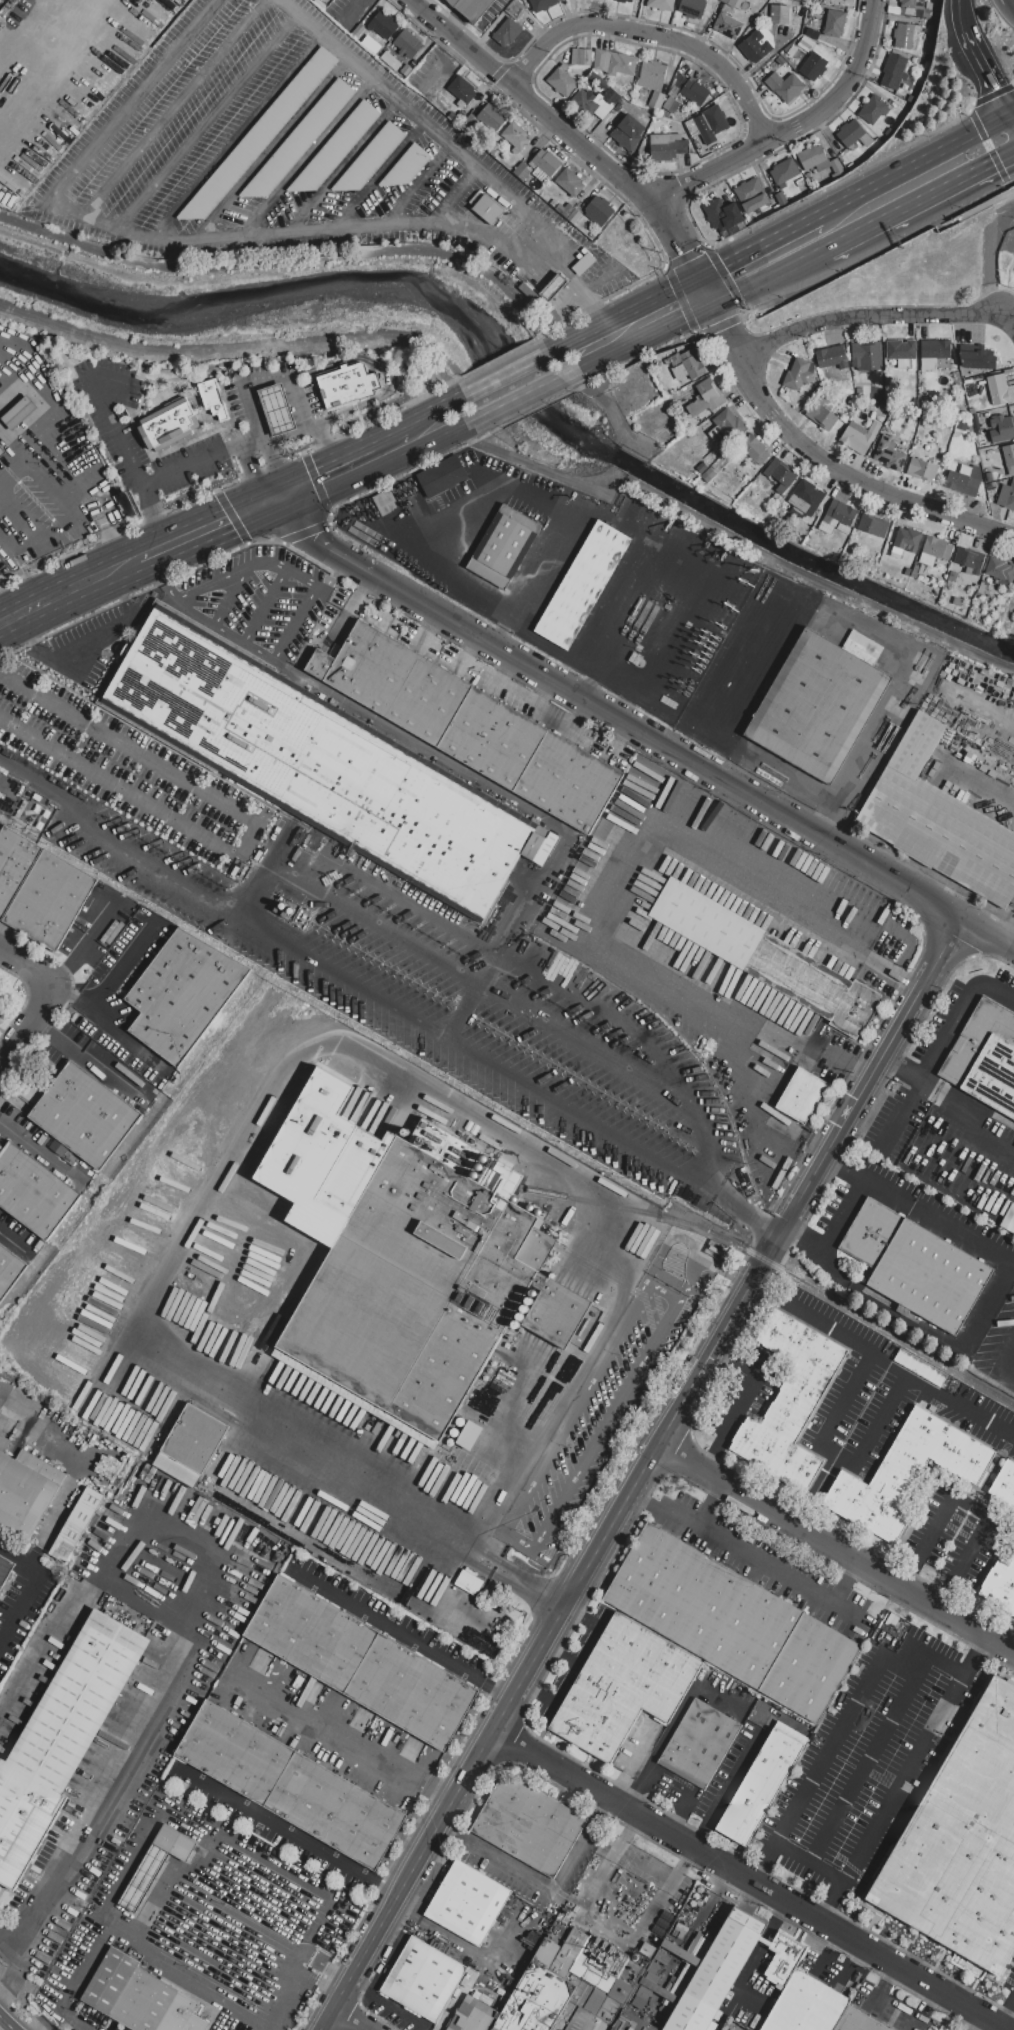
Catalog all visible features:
building: (807, 0)
building: (624, 1)
road: (1000, 1)
building: (938, 2)
building: (735, 3)
building: (542, 4)
building: (661, 4)
building: (912, 4)
building: (472, 8)
building: (692, 8)
building: (516, 9)
road: (358, 12)
building: (921, 12)
road: (1007, 12)
building: (780, 15)
road: (961, 15)
building: (835, 23)
road: (19, 24)
building: (383, 25)
building: (728, 26)
building: (508, 31)
building: (359, 32)
building: (813, 33)
building: (906, 36)
road: (654, 37)
building: (806, 42)
building: (408, 44)
building: (758, 44)
road: (974, 50)
building: (582, 57)
building: (601, 59)
building: (390, 60)
building: (781, 61)
building: (622, 64)
building: (814, 66)
road: (54, 67)
building: (893, 71)
building: (652, 75)
building: (563, 81)
building: (676, 86)
building: (786, 87)
road: (998, 87)
building: (462, 91)
building: (695, 91)
building: (609, 92)
building: (657, 100)
building: (584, 103)
building: (671, 104)
road: (987, 106)
road: (176, 107)
road: (410, 108)
building: (874, 109)
building: (457, 117)
building: (492, 117)
road: (209, 121)
building: (470, 121)
building: (711, 124)
road: (991, 126)
road: (798, 130)
road: (564, 131)
building: (628, 131)
building: (890, 133)
building: (854, 135)
road: (238, 136)
building: (516, 137)
building: (299, 140)
building: (336, 147)
building: (667, 147)
road: (271, 148)
building: (491, 151)
road: (1004, 156)
road: (308, 158)
building: (370, 158)
building: (813, 158)
road: (1004, 158)
parking lot: (299, 160)
building: (545, 164)
road: (345, 166)
building: (837, 167)
building: (522, 171)
building: (784, 172)
road: (380, 175)
road: (853, 175)
road: (894, 177)
building: (570, 182)
building: (800, 182)
road: (418, 184)
building: (751, 195)
building: (781, 198)
road: (911, 205)
building: (489, 209)
building: (564, 209)
building: (599, 210)
building: (575, 216)
building: (724, 216)
road: (111, 225)
road: (538, 225)
road: (1002, 230)
road: (758, 247)
road: (508, 255)
road: (871, 258)
building: (583, 265)
park: (923, 271)
road: (770, 277)
road: (1005, 283)
building: (554, 287)
building: (528, 292)
road: (583, 292)
road: (705, 293)
road: (633, 311)
road: (882, 321)
road: (676, 325)
building: (902, 352)
building: (933, 353)
building: (867, 356)
building: (832, 357)
building: (978, 357)
road: (612, 358)
building: (686, 365)
road: (383, 369)
road: (513, 373)
building: (798, 375)
road: (266, 379)
building: (346, 384)
building: (998, 389)
building: (707, 397)
building: (973, 398)
building: (210, 399)
road: (527, 400)
road: (299, 402)
road: (254, 408)
building: (277, 409)
building: (19, 411)
building: (821, 415)
road: (425, 417)
building: (975, 421)
building: (731, 422)
building: (167, 423)
building: (963, 424)
road: (62, 427)
building: (1002, 429)
road: (294, 431)
road: (114, 432)
building: (860, 436)
road: (267, 438)
road: (342, 438)
parking lot: (225, 439)
road: (437, 440)
road: (14, 442)
road: (330, 447)
building: (755, 449)
building: (2, 450)
building: (888, 453)
building: (1008, 458)
road: (203, 460)
road: (830, 462)
parking lot: (50, 463)
road: (278, 463)
road: (304, 464)
road: (535, 467)
building: (702, 467)
building: (922, 469)
road: (252, 470)
road: (341, 471)
road: (244, 472)
building: (780, 474)
building: (709, 475)
building: (442, 476)
building: (959, 477)
road: (48, 480)
road: (218, 492)
traffic signals: (279, 496)
road: (405, 496)
building: (1006, 496)
building: (806, 498)
building: (385, 502)
road: (258, 505)
road: (284, 507)
road: (329, 509)
road: (154, 515)
building: (838, 516)
building: (874, 526)
road: (194, 531)
road: (48, 534)
road: (110, 537)
road: (283, 539)
road: (246, 540)
building: (906, 542)
building: (503, 546)
road: (11, 548)
building: (935, 550)
road: (134, 557)
building: (971, 560)
road: (544, 564)
road: (283, 570)
building: (923, 570)
building: (1000, 571)
road: (164, 574)
building: (952, 576)
road: (335, 578)
road: (33, 581)
building: (583, 586)
building: (983, 589)
road: (57, 592)
road: (613, 594)
road: (232, 596)
road: (176, 599)
parking lot: (258, 600)
building: (958, 601)
road: (5, 604)
road: (266, 607)
road: (677, 625)
parking lot: (691, 626)
road: (288, 636)
road: (705, 639)
road: (90, 642)
parking lot: (91, 643)
road: (734, 653)
road: (902, 688)
road: (739, 697)
building: (818, 705)
building: (469, 727)
road: (654, 739)
building: (321, 762)
parking lot: (130, 771)
road: (26, 775)
road: (795, 781)
road: (988, 784)
road: (19, 799)
road: (521, 805)
building: (938, 820)
road: (257, 827)
road: (668, 838)
road: (142, 858)
building: (14, 864)
road: (275, 864)
building: (49, 899)
road: (1009, 934)
building: (770, 960)
road: (466, 974)
road: (108, 984)
road: (996, 992)
building: (182, 994)
road: (43, 999)
building: (1, 1012)
road: (127, 1039)
road: (306, 1053)
building: (985, 1056)
road: (781, 1059)
road: (930, 1064)
road: (903, 1070)
building: (802, 1096)
building: (85, 1114)
road: (976, 1114)
road: (835, 1163)
building: (33, 1190)
road: (928, 1215)
building: (1008, 1219)
road: (803, 1239)
road: (677, 1242)
road: (14, 1243)
railway: (771, 1259)
building: (916, 1265)
building: (9, 1270)
road: (737, 1275)
road: (691, 1286)
building: (418, 1288)
road: (720, 1303)
building: (558, 1313)
road: (822, 1324)
road: (927, 1332)
building: (921, 1367)
building: (948, 1383)
road: (845, 1398)
road: (742, 1400)
building: (791, 1402)
road: (965, 1407)
road: (884, 1412)
building: (191, 1445)
road: (838, 1454)
road: (647, 1466)
building: (907, 1473)
building: (1004, 1483)
building: (25, 1490)
road: (65, 1500)
road: (711, 1504)
road: (972, 1509)
building: (75, 1524)
road: (191, 1534)
road: (518, 1541)
road: (838, 1546)
road: (17, 1547)
road: (751, 1561)
building: (5, 1570)
building: (469, 1581)
road: (845, 1584)
building: (1000, 1586)
road: (530, 1588)
building: (733, 1623)
road: (385, 1626)
road: (922, 1651)
building: (360, 1661)
road: (184, 1668)
building: (624, 1687)
road: (496, 1692)
road: (673, 1723)
road: (328, 1727)
building: (62, 1738)
building: (701, 1740)
road: (828, 1749)
road: (869, 1757)
road: (904, 1779)
building: (290, 1783)
building: (761, 1786)
road: (729, 1789)
road: (686, 1791)
road: (438, 1792)
building: (529, 1825)
road: (286, 1831)
building: (962, 1842)
building: (175, 1843)
road: (260, 1856)
road: (761, 1859)
road: (809, 1860)
road: (748, 1879)
road: (631, 1886)
road: (541, 1888)
road: (592, 1889)
building: (468, 1902)
building: (706, 1910)
building: (682, 1928)
road: (643, 1929)
road: (470, 1954)
building: (784, 1958)
building: (662, 1959)
building: (655, 1968)
building: (590, 1970)
building: (717, 1972)
road: (178, 1973)
building: (631, 1973)
building: (686, 1974)
road: (325, 1976)
building: (424, 1978)
road: (75, 1979)
building: (544, 1986)
building: (652, 1989)
building: (643, 1994)
building: (140, 1997)
building: (615, 2002)
building: (807, 2006)
road: (1005, 2013)
building: (476, 2014)
road: (80, 2018)
building: (578, 2020)
road: (325, 2021)
road: (345, 2021)
building: (858, 2021)
road: (7, 2023)
building: (630, 2023)
road: (982, 2025)

